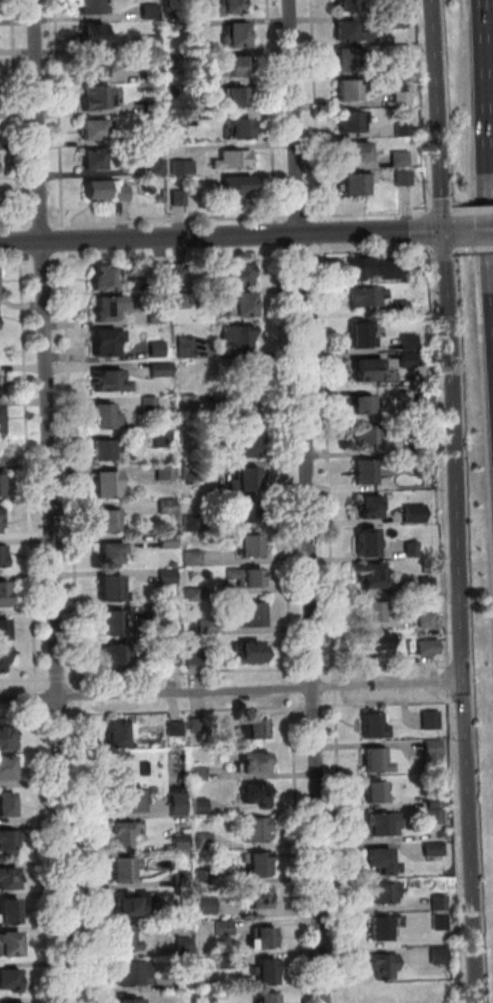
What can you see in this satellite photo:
building: (174, 4)
building: (88, 5)
building: (342, 5)
building: (229, 6)
building: (148, 9)
building: (398, 20)
building: (176, 31)
building: (341, 31)
building: (232, 33)
building: (89, 35)
building: (148, 41)
building: (345, 58)
building: (92, 65)
building: (228, 65)
building: (401, 67)
building: (346, 88)
building: (230, 95)
building: (89, 96)
building: (401, 99)
building: (154, 105)
road: (419, 106)
road: (311, 109)
road: (269, 111)
road: (16, 115)
road: (438, 115)
road: (294, 117)
building: (175, 119)
building: (347, 120)
building: (232, 125)
building: (88, 128)
building: (402, 131)
building: (151, 136)
road: (486, 143)
building: (351, 149)
building: (230, 157)
building: (88, 158)
building: (399, 160)
building: (179, 162)
building: (154, 167)
building: (403, 179)
building: (348, 182)
building: (232, 187)
building: (94, 188)
building: (117, 190)
building: (175, 196)
road: (474, 210)
road: (453, 211)
road: (365, 212)
road: (295, 216)
road: (58, 222)
road: (62, 222)
road: (40, 223)
road: (15, 224)
road: (428, 230)
road: (315, 231)
road: (475, 231)
traffic signals: (444, 232)
road: (450, 232)
road: (274, 233)
road: (221, 236)
road: (66, 239)
road: (22, 240)
road: (294, 250)
road: (475, 250)
road: (368, 251)
road: (455, 251)
road: (169, 255)
road: (46, 260)
road: (18, 262)
building: (353, 265)
building: (389, 270)
building: (235, 272)
building: (102, 277)
building: (362, 294)
building: (183, 301)
building: (238, 303)
building: (105, 307)
building: (400, 308)
building: (158, 315)
building: (359, 331)
building: (235, 336)
building: (104, 340)
building: (407, 343)
building: (187, 348)
building: (159, 349)
building: (406, 361)
building: (358, 366)
building: (163, 370)
building: (108, 379)
building: (0, 393)
building: (189, 403)
building: (152, 404)
building: (356, 404)
building: (241, 410)
building: (104, 414)
building: (1, 421)
building: (360, 434)
building: (165, 440)
building: (190, 440)
building: (242, 444)
building: (423, 446)
building: (104, 449)
road: (440, 455)
road: (285, 464)
building: (360, 470)
road: (31, 472)
building: (193, 472)
building: (168, 473)
building: (249, 482)
building: (106, 483)
building: (2, 487)
road: (53, 501)
building: (362, 505)
building: (169, 507)
building: (242, 510)
road: (329, 511)
building: (414, 514)
building: (1, 521)
building: (111, 523)
building: (194, 523)
building: (361, 540)
building: (170, 542)
building: (252, 548)
building: (412, 551)
building: (112, 552)
building: (4, 556)
building: (195, 559)
building: (176, 565)
building: (365, 574)
road: (78, 576)
building: (246, 576)
building: (170, 577)
building: (428, 586)
building: (114, 591)
building: (195, 595)
building: (4, 596)
building: (366, 611)
road: (462, 617)
building: (256, 618)
road: (313, 618)
building: (427, 621)
building: (115, 625)
building: (211, 627)
building: (5, 632)
building: (370, 640)
building: (429, 649)
building: (251, 651)
building: (197, 657)
building: (3, 658)
building: (118, 659)
building: (176, 659)
road: (337, 668)
road: (315, 669)
road: (82, 677)
road: (60, 678)
road: (26, 679)
road: (338, 687)
road: (294, 689)
road: (232, 691)
road: (83, 696)
road: (40, 697)
road: (397, 702)
road: (316, 706)
road: (338, 706)
road: (295, 707)
road: (193, 710)
road: (62, 715)
road: (84, 715)
road: (26, 716)
building: (431, 722)
building: (368, 725)
building: (201, 726)
building: (178, 730)
building: (261, 731)
building: (122, 733)
building: (7, 741)
building: (433, 754)
building: (370, 759)
building: (257, 765)
building: (8, 771)
building: (202, 773)
building: (374, 792)
building: (259, 797)
building: (129, 802)
building: (436, 803)
building: (8, 805)
building: (181, 805)
building: (203, 807)
building: (437, 819)
building: (380, 824)
building: (256, 829)
building: (126, 838)
building: (208, 841)
building: (10, 843)
building: (183, 843)
building: (435, 851)
road: (44, 852)
building: (374, 859)
building: (260, 865)
building: (127, 872)
building: (184, 873)
building: (205, 876)
building: (9, 882)
building: (380, 892)
building: (262, 898)
building: (440, 905)
building: (133, 906)
building: (209, 906)
building: (12, 913)
building: (186, 913)
building: (381, 924)
building: (441, 924)
building: (226, 928)
building: (265, 939)
building: (127, 941)
building: (187, 946)
building: (11, 947)
building: (440, 957)
building: (227, 960)
building: (382, 965)
building: (268, 973)
building: (134, 975)
building: (11, 982)
building: (188, 982)
building: (210, 994)
building: (378, 995)
building: (270, 998)
building: (129, 1000)
building: (11, 1002)

